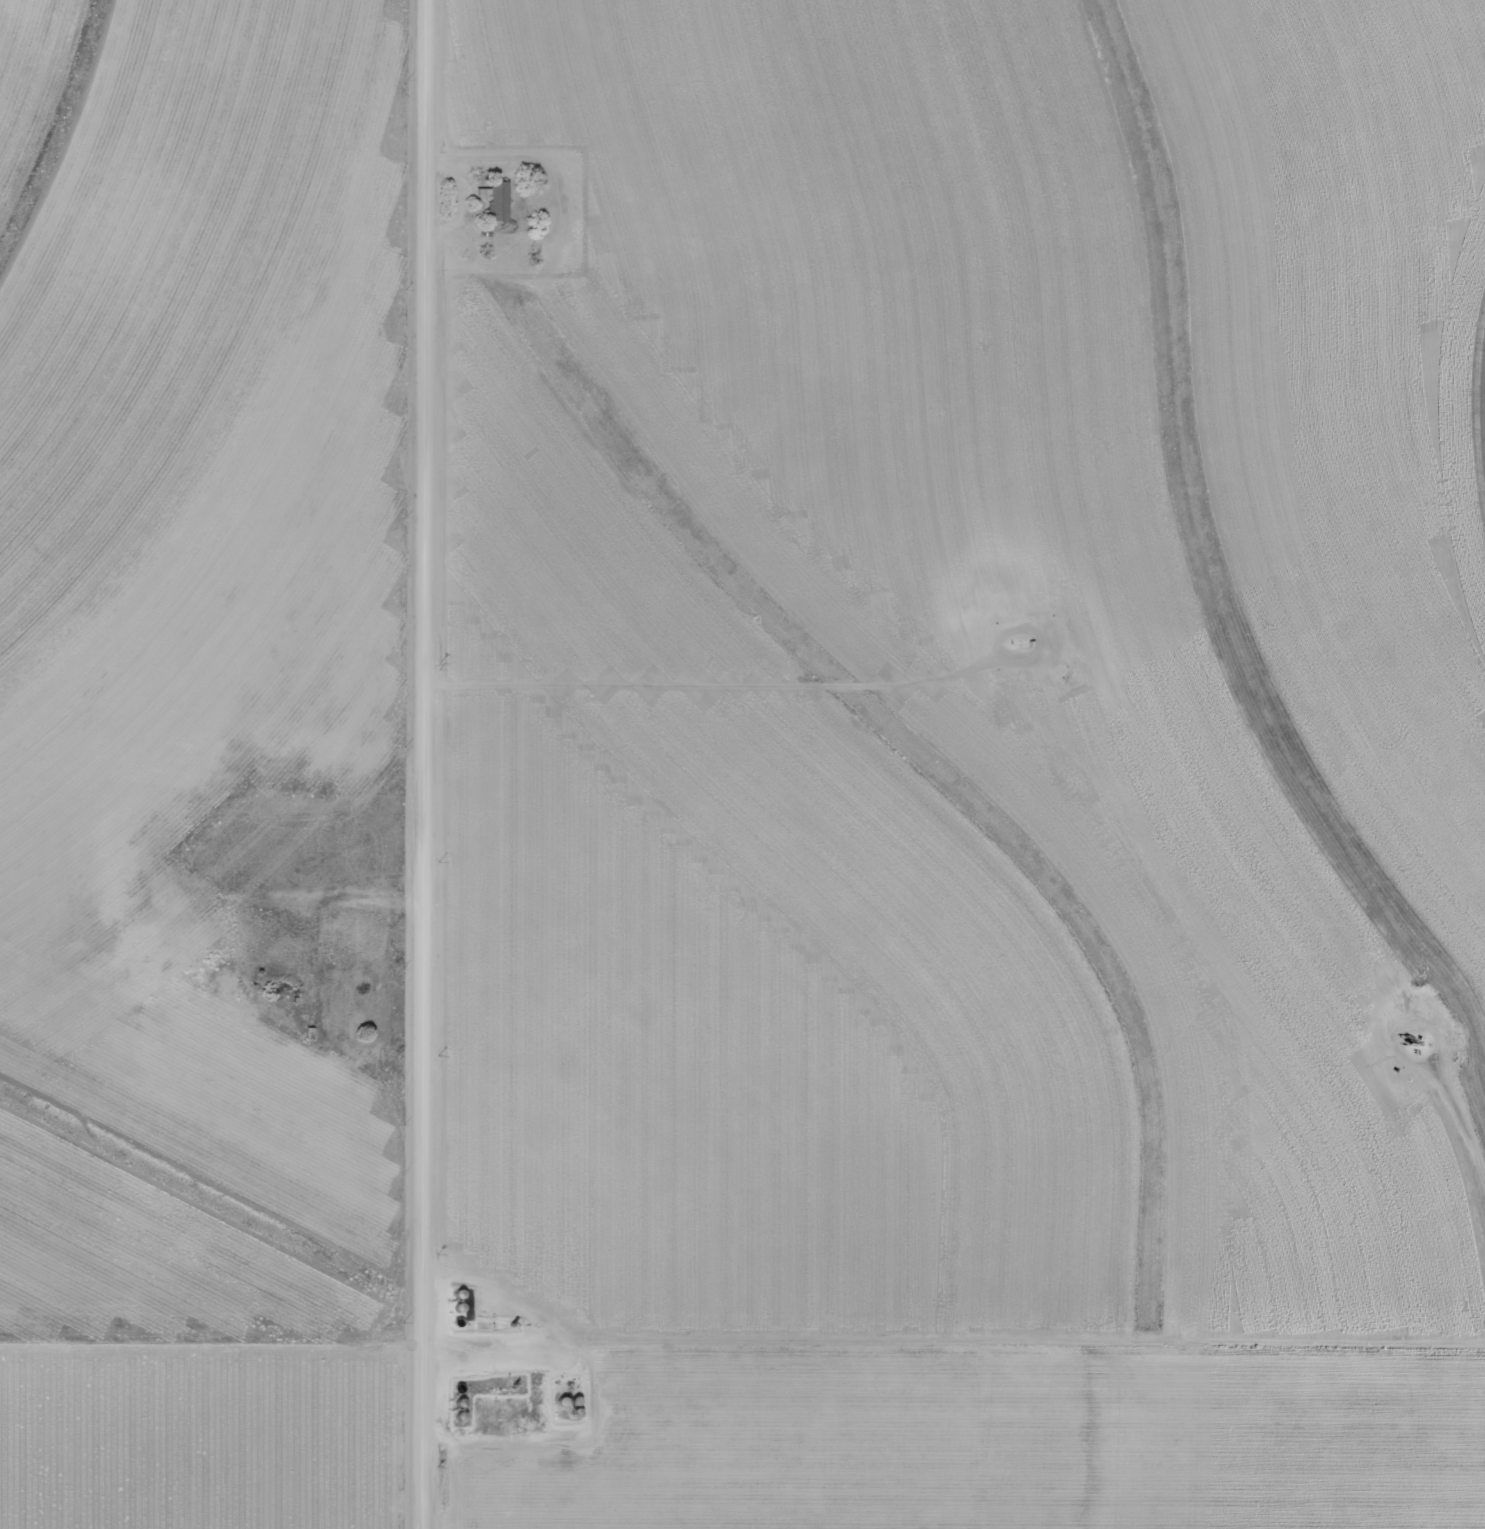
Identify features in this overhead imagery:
building: (494, 202)
road: (428, 764)

